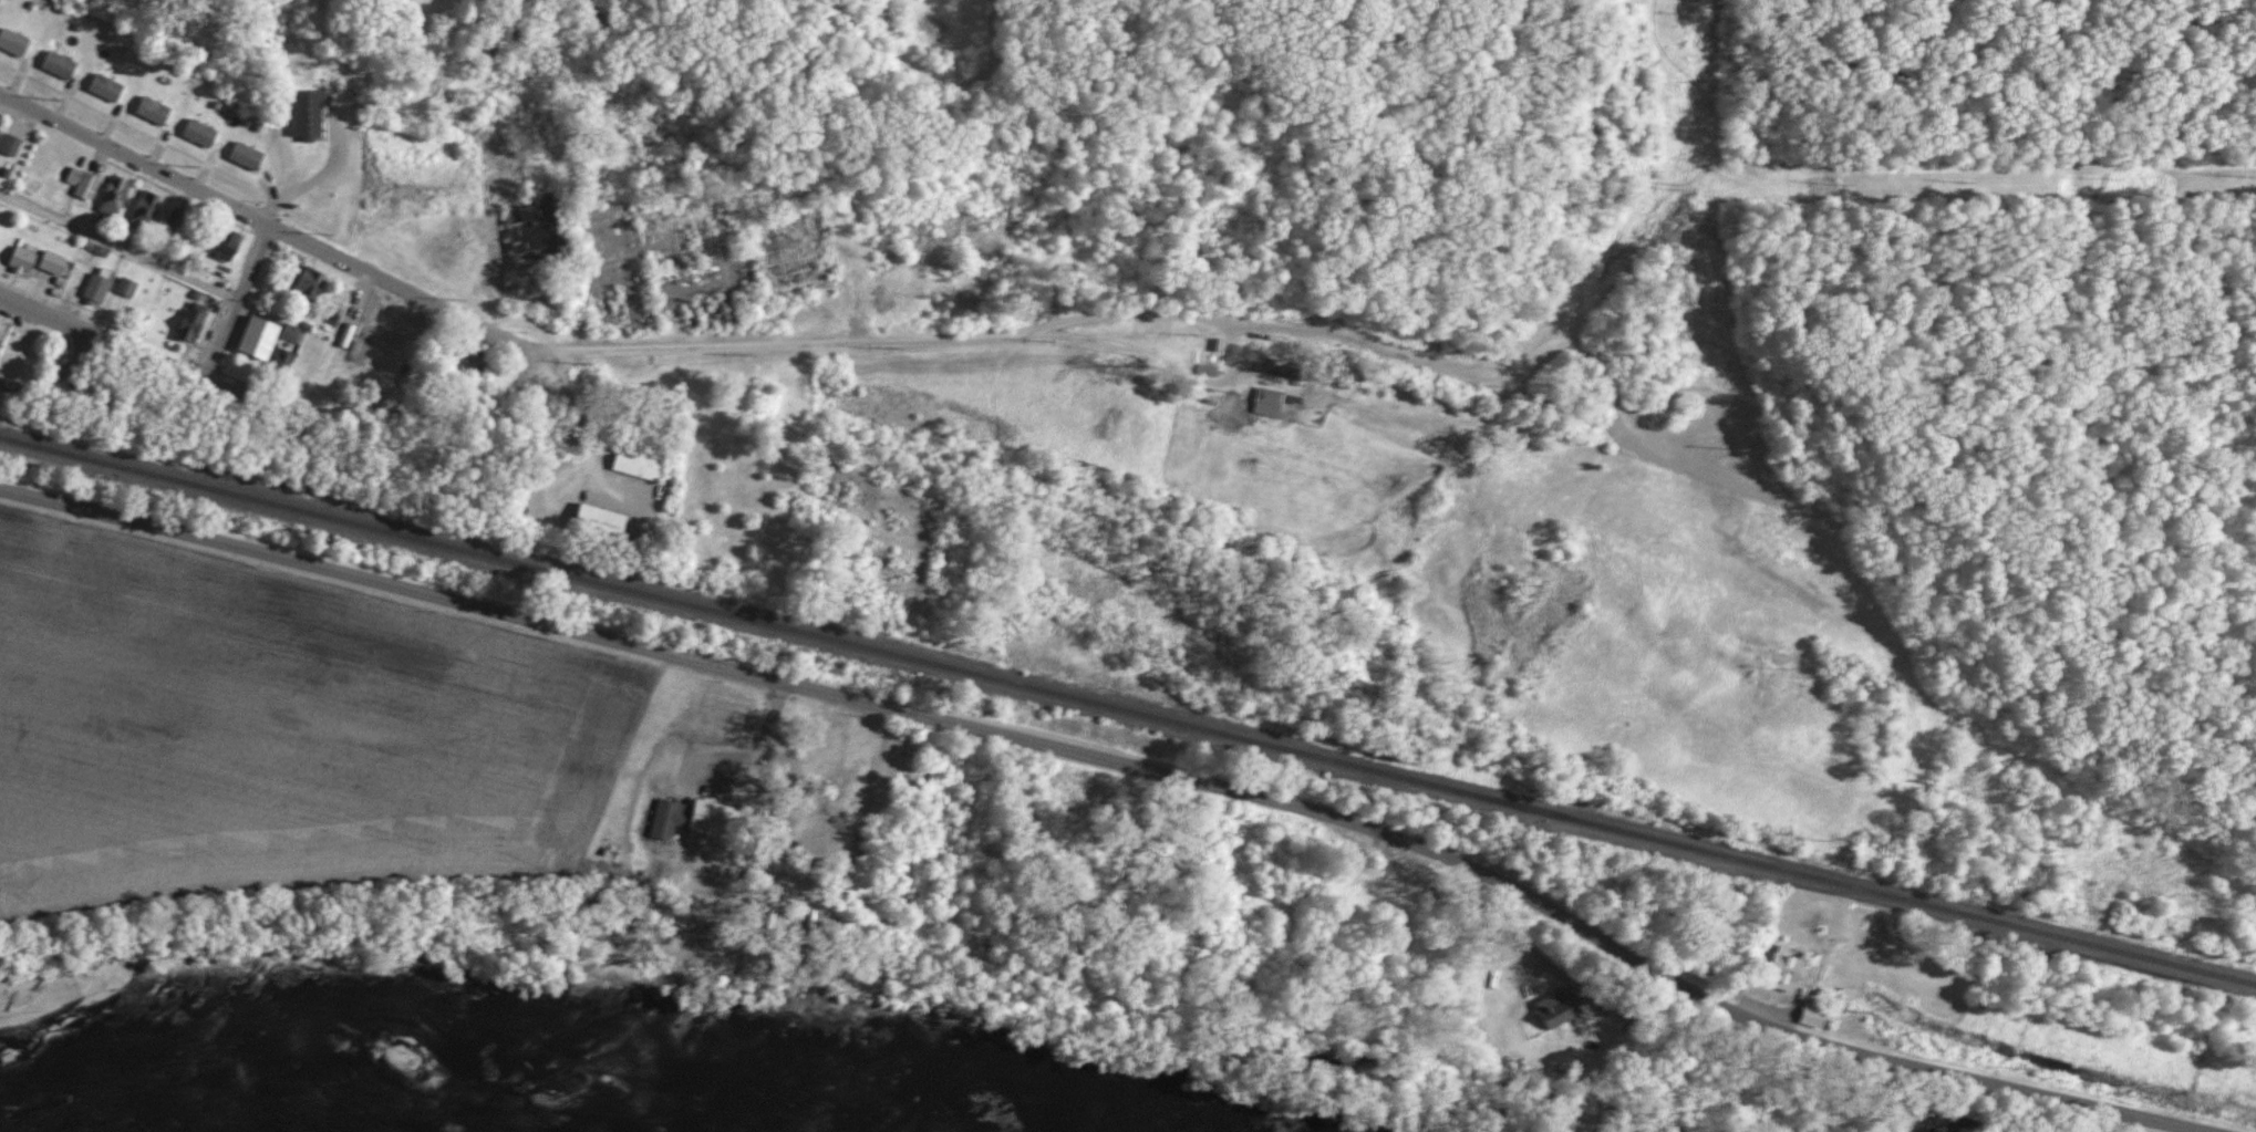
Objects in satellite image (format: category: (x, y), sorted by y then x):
building: (17, 46)
building: (68, 67)
building: (113, 90)
road: (2151, 94)
road: (1802, 104)
building: (156, 111)
building: (300, 114)
building: (315, 117)
road: (1593, 121)
building: (206, 136)
building: (1, 138)
building: (15, 145)
building: (249, 158)
building: (87, 186)
building: (110, 194)
building: (123, 202)
building: (142, 206)
building: (153, 217)
building: (534, 226)
road: (1649, 239)
building: (217, 243)
road: (2036, 247)
building: (229, 257)
road: (1782, 259)
building: (29, 260)
building: (62, 266)
road: (115, 266)
building: (97, 285)
building: (127, 287)
building: (308, 292)
building: (107, 293)
park: (1871, 303)
road: (1137, 312)
road: (230, 319)
building: (197, 328)
building: (290, 334)
road: (1119, 343)
building: (11, 346)
road: (472, 347)
building: (273, 350)
building: (470, 361)
road: (1596, 368)
road: (38, 371)
building: (1290, 373)
building: (1270, 403)
road: (269, 420)
building: (651, 466)
building: (614, 529)
railway: (1128, 709)
road: (1091, 755)
building: (715, 818)
road: (1456, 905)
building: (1799, 968)
building: (1771, 970)
building: (1842, 994)
building: (1566, 1010)
river: (569, 1110)

